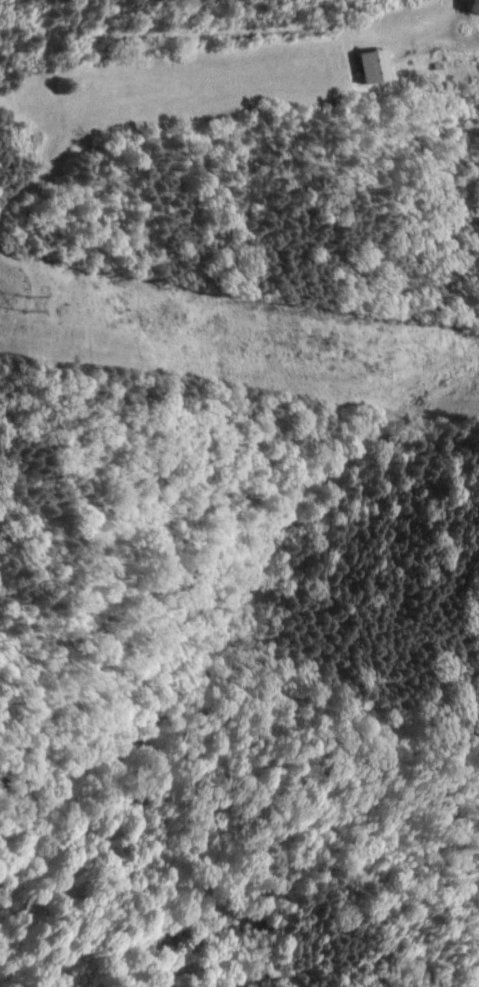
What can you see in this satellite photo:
road: (442, 46)
building: (369, 68)
power tower: (23, 305)

